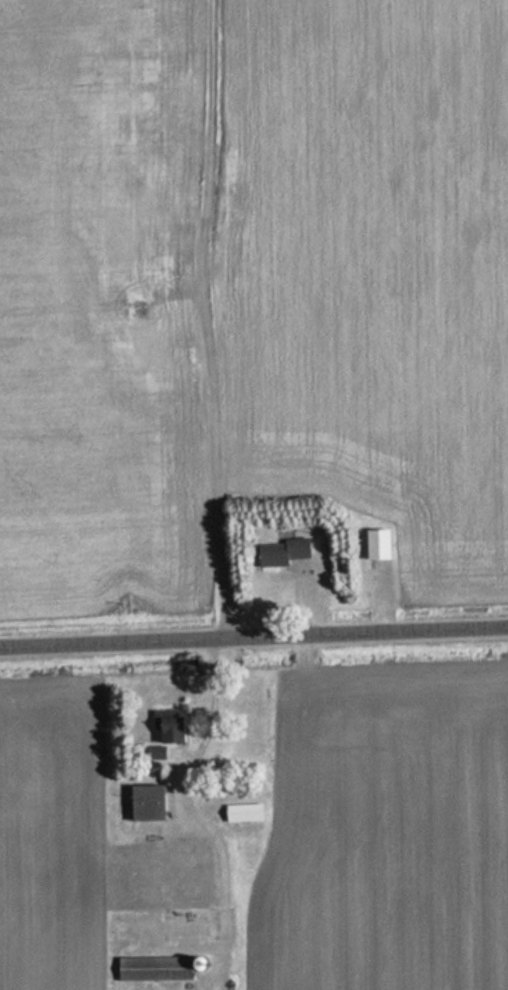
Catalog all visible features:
building: (375, 545)
building: (280, 553)
road: (254, 635)
building: (167, 727)
building: (154, 754)
building: (144, 804)
building: (242, 814)
building: (154, 968)

